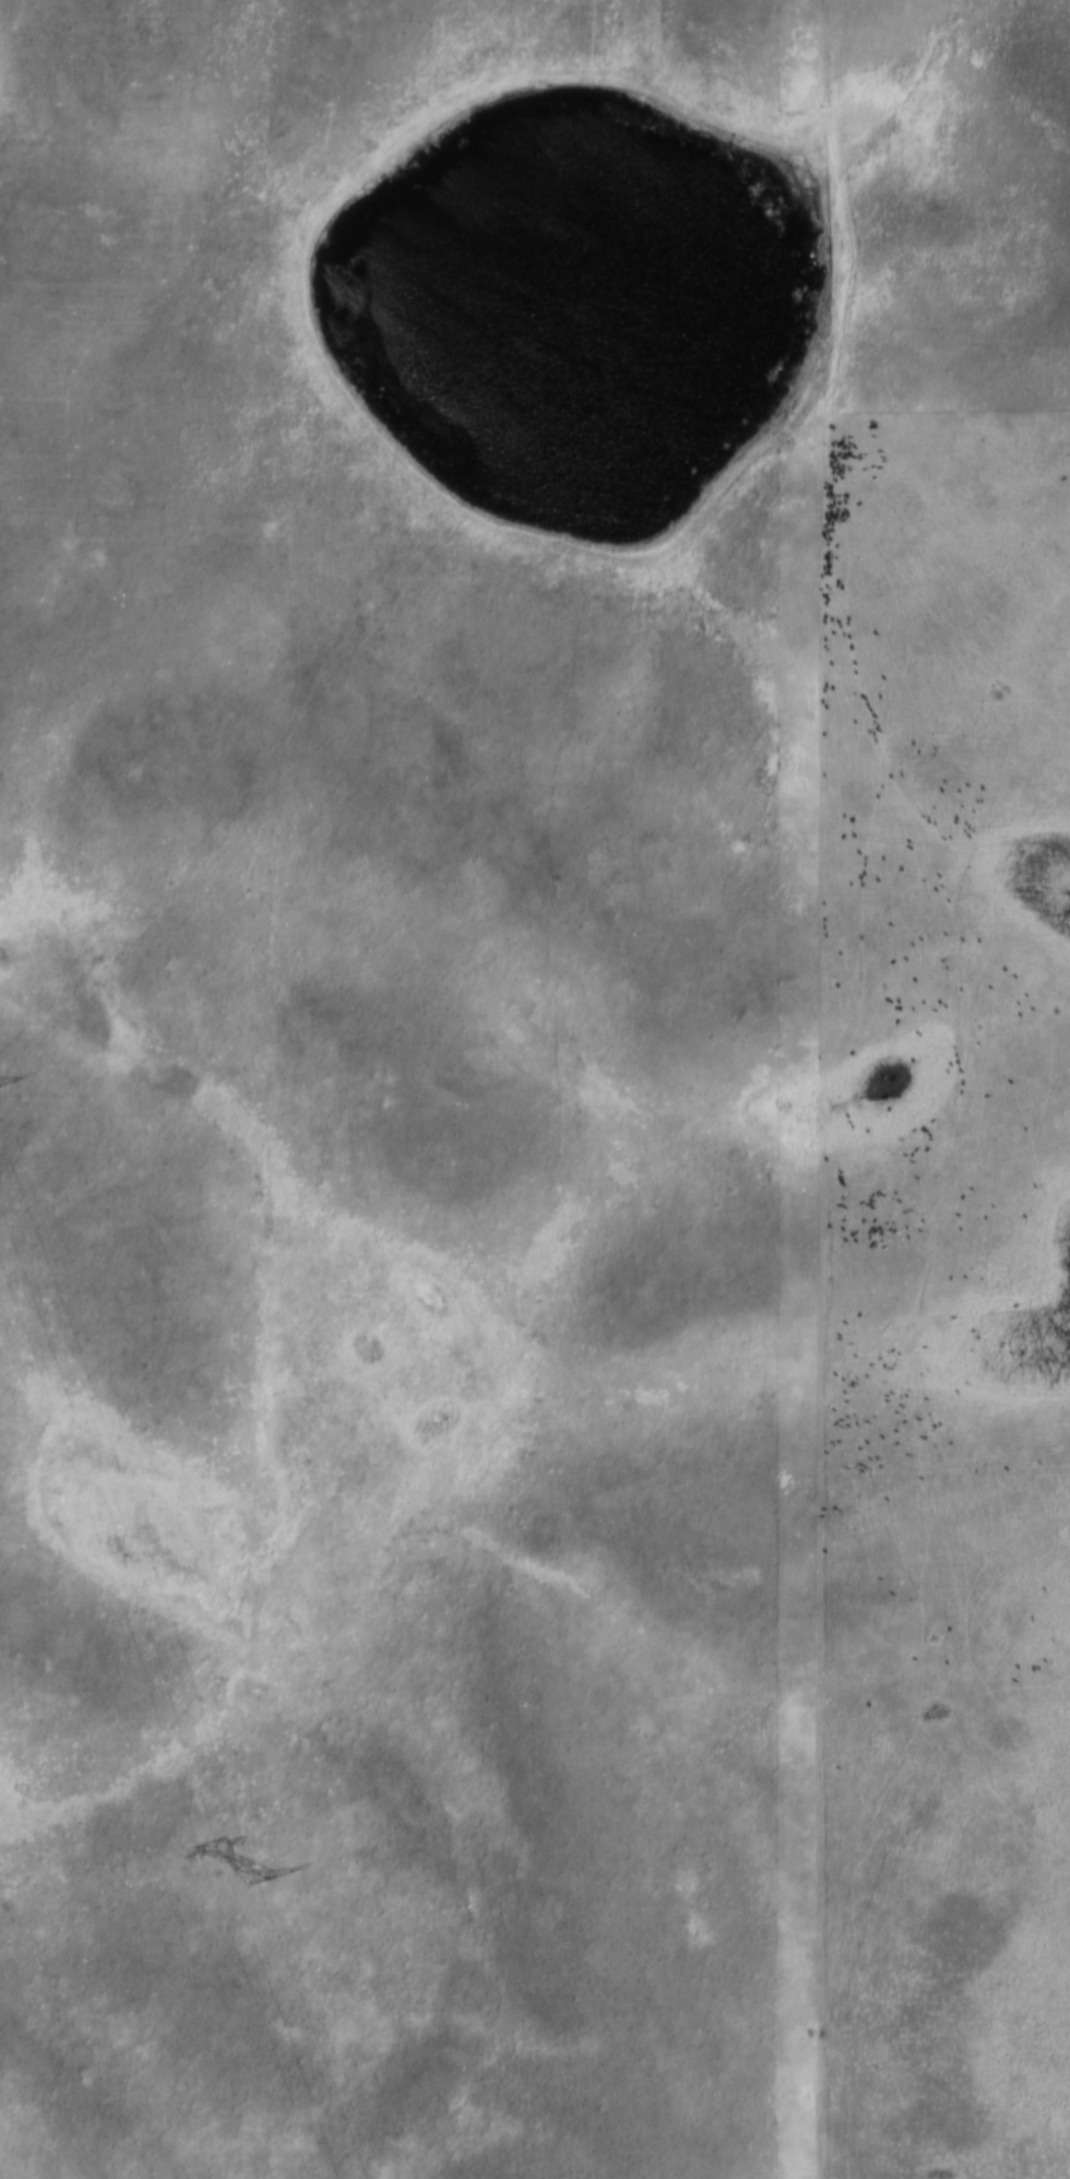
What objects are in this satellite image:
power tower: (252, 1875)

